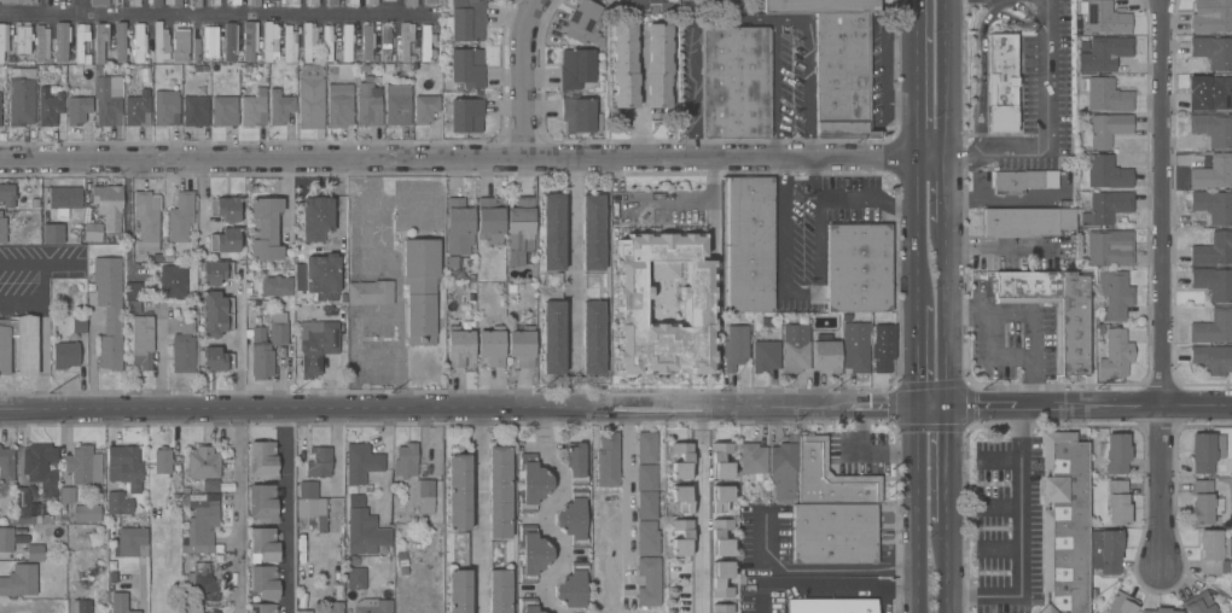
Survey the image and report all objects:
building: (274, 0)
building: (385, 0)
building: (14, 1)
building: (99, 1)
building: (215, 1)
building: (234, 1)
building: (291, 1)
building: (312, 1)
building: (332, 1)
building: (353, 1)
building: (371, 1)
building: (430, 1)
building: (135, 2)
building: (156, 2)
building: (173, 2)
building: (252, 2)
building: (411, 2)
building: (197, 4)
building: (638, 4)
building: (668, 6)
building: (820, 6)
road: (217, 16)
building: (1211, 16)
building: (1103, 17)
building: (465, 22)
building: (582, 22)
road: (737, 23)
building: (2, 40)
building: (22, 40)
building: (250, 40)
building: (407, 40)
building: (210, 41)
building: (231, 41)
building: (269, 41)
building: (327, 42)
building: (347, 42)
building: (367, 42)
building: (426, 42)
building: (41, 43)
building: (62, 43)
building: (81, 43)
building: (121, 43)
building: (139, 43)
building: (161, 43)
building: (310, 43)
building: (389, 43)
building: (289, 45)
building: (180, 46)
building: (100, 47)
building: (196, 47)
building: (1213, 52)
building: (1104, 53)
building: (623, 65)
building: (657, 65)
building: (466, 68)
building: (575, 69)
building: (842, 76)
road: (522, 77)
road: (807, 77)
road: (914, 80)
road: (945, 80)
building: (734, 83)
building: (1001, 83)
building: (0, 93)
road: (641, 95)
building: (1106, 95)
building: (1211, 95)
building: (339, 97)
building: (22, 98)
building: (310, 98)
building: (107, 100)
building: (368, 104)
building: (397, 105)
building: (48, 106)
building: (279, 106)
building: (165, 107)
building: (80, 109)
building: (138, 109)
building: (254, 109)
building: (424, 109)
building: (194, 111)
building: (225, 111)
building: (466, 116)
building: (580, 116)
road: (1047, 128)
building: (1213, 129)
building: (1104, 130)
road: (861, 141)
road: (471, 159)
building: (1106, 173)
building: (1213, 173)
road: (814, 180)
building: (1017, 181)
building: (749, 189)
road: (945, 192)
building: (6, 195)
building: (64, 200)
road: (664, 200)
building: (109, 206)
building: (1213, 206)
building: (1106, 208)
building: (225, 209)
road: (815, 210)
building: (180, 217)
building: (316, 218)
building: (488, 218)
building: (146, 220)
building: (1025, 222)
road: (127, 223)
building: (750, 223)
building: (459, 226)
road: (781, 227)
building: (2, 229)
building: (266, 229)
building: (519, 230)
building: (92, 232)
building: (592, 232)
building: (552, 233)
building: (53, 234)
road: (914, 234)
building: (225, 240)
building: (1110, 247)
building: (1213, 250)
road: (570, 252)
building: (858, 269)
building: (215, 273)
building: (320, 274)
road: (396, 278)
building: (749, 279)
building: (173, 281)
building: (1213, 284)
road: (1162, 285)
building: (277, 286)
building: (419, 290)
building: (132, 291)
building: (370, 293)
building: (1115, 294)
building: (133, 306)
building: (109, 310)
building: (630, 310)
building: (216, 314)
road: (1033, 315)
road: (945, 317)
building: (79, 325)
building: (187, 327)
building: (1213, 327)
building: (553, 338)
building: (592, 338)
building: (1071, 339)
building: (141, 341)
building: (883, 341)
building: (18, 345)
building: (267, 345)
building: (315, 345)
building: (458, 345)
building: (492, 346)
building: (521, 346)
building: (734, 348)
building: (854, 348)
building: (795, 349)
building: (64, 355)
building: (182, 355)
building: (1115, 355)
building: (765, 356)
building: (825, 356)
building: (1211, 358)
building: (216, 360)
road: (916, 360)
road: (1080, 409)
road: (464, 413)
building: (646, 448)
road: (238, 450)
building: (1204, 451)
building: (1115, 453)
building: (751, 457)
building: (262, 460)
building: (406, 460)
building: (608, 460)
building: (162, 461)
building: (680, 461)
building: (720, 461)
building: (203, 462)
building: (319, 462)
building: (361, 463)
building: (575, 463)
building: (6, 465)
building: (83, 466)
building: (126, 466)
building: (41, 468)
building: (783, 469)
road: (945, 469)
building: (646, 477)
building: (829, 478)
building: (531, 483)
building: (210, 485)
building: (458, 491)
building: (499, 492)
building: (66, 495)
building: (423, 496)
building: (680, 498)
building: (720, 498)
building: (309, 501)
building: (1203, 502)
building: (117, 503)
building: (262, 503)
building: (1116, 503)
building: (646, 504)
road: (627, 506)
building: (27, 507)
road: (541, 510)
road: (699, 512)
road: (916, 512)
building: (87, 513)
road: (286, 513)
road: (476, 513)
building: (573, 518)
building: (1063, 522)
building: (202, 525)
building: (364, 529)
building: (833, 533)
building: (720, 537)
building: (646, 538)
building: (680, 538)
building: (6, 539)
road: (1019, 539)
building: (132, 542)
building: (262, 545)
building: (1104, 551)
building: (1213, 551)
building: (34, 553)
building: (531, 554)
road: (946, 570)
road: (818, 572)
building: (355, 578)
building: (720, 579)
building: (19, 580)
building: (263, 580)
building: (649, 580)
building: (202, 582)
road: (810, 582)
road: (143, 585)
building: (571, 586)
building: (459, 591)
building: (499, 591)
road: (900, 591)
road: (885, 602)
building: (118, 603)
building: (1121, 603)
building: (1198, 603)
building: (81, 606)
building: (372, 606)
building: (528, 606)
building: (831, 606)
building: (330, 607)
building: (262, 608)
building: (721, 608)
building: (1158, 611)
building: (208, 612)
building: (302, 612)

